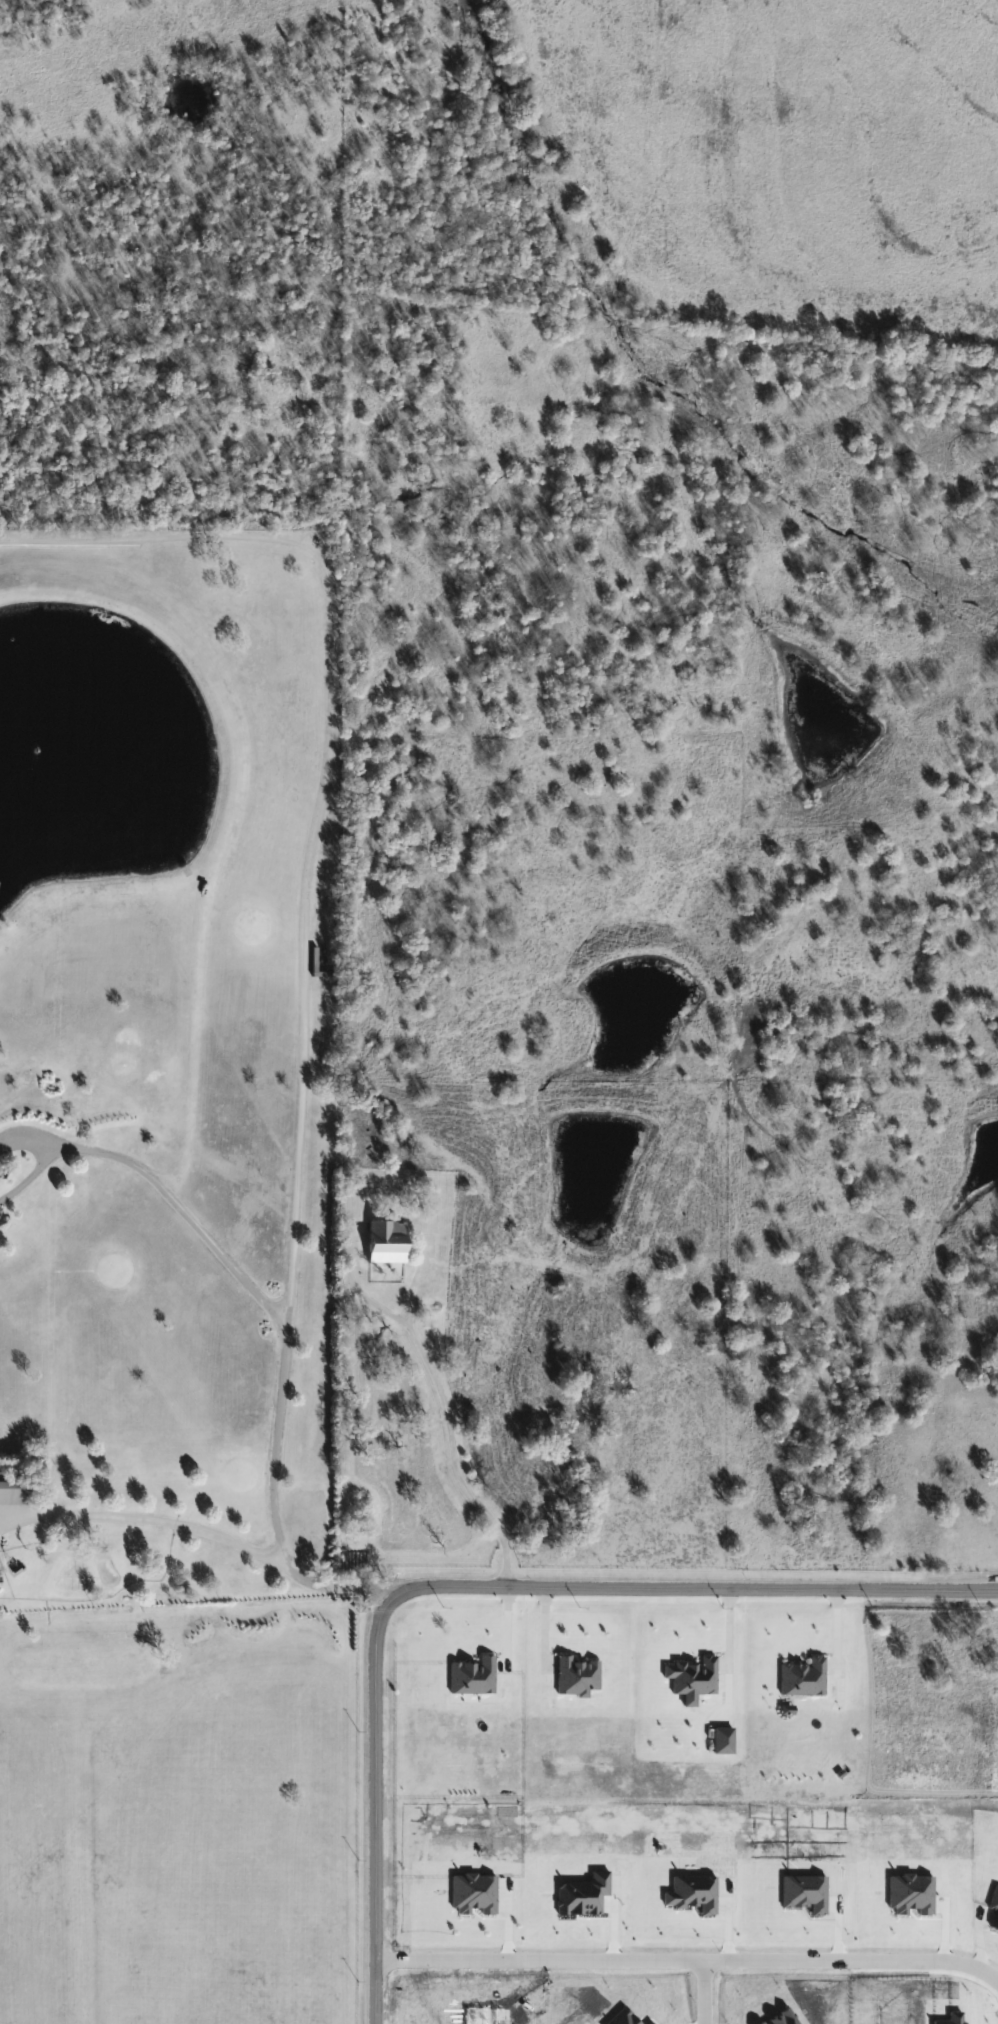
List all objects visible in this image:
road: (299, 897)
road: (154, 1184)
building: (388, 1241)
road: (362, 1294)
road: (448, 1429)
building: (16, 1492)
road: (202, 1530)
building: (1, 1580)
road: (481, 1591)
road: (687, 1960)
road: (701, 1992)

